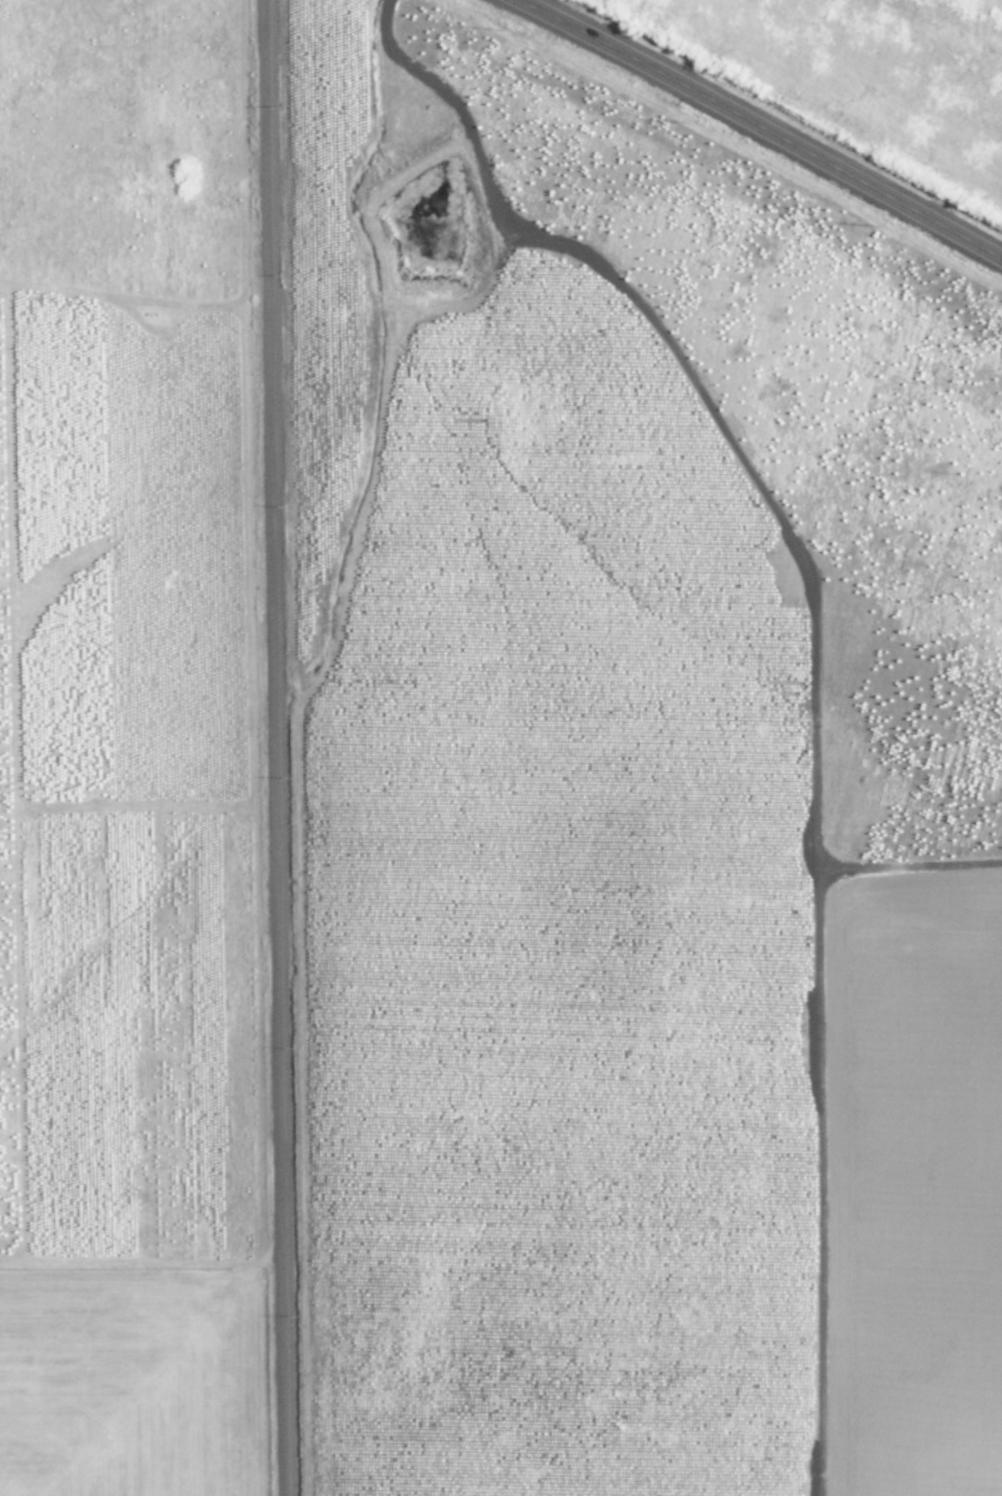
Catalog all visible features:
crop: (867, 72)
road: (761, 127)
road: (742, 459)
road: (271, 748)

